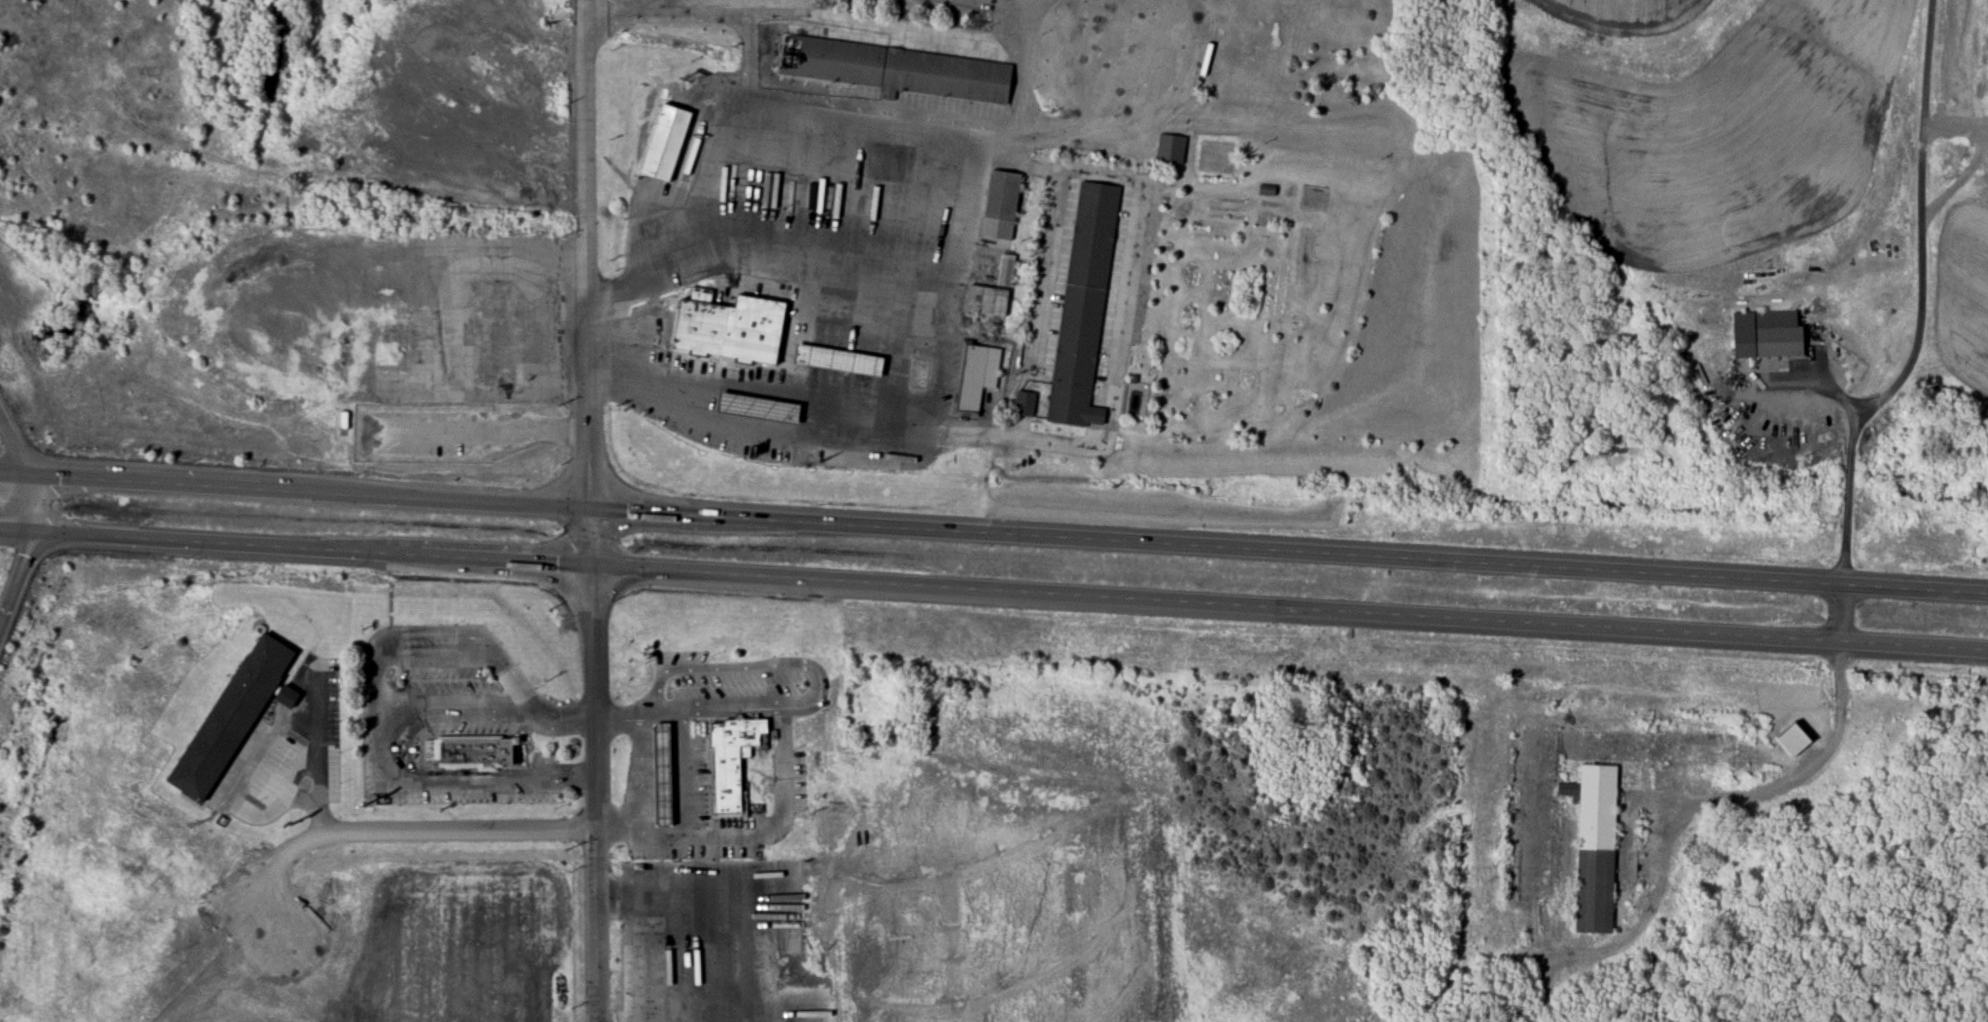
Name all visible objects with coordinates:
road: (608, 16)
road: (725, 17)
building: (1133, 68)
building: (898, 70)
road: (821, 113)
building: (668, 142)
building: (1170, 148)
road: (1083, 174)
building: (1002, 204)
road: (519, 258)
building: (1007, 269)
road: (816, 274)
building: (988, 299)
building: (1085, 306)
road: (448, 322)
building: (1769, 334)
building: (798, 339)
building: (393, 344)
building: (977, 375)
road: (762, 386)
building: (1026, 403)
building: (763, 407)
building: (344, 420)
road: (977, 439)
road: (27, 468)
road: (1852, 472)
traffic signals: (591, 508)
road: (591, 511)
road: (16, 529)
road: (994, 533)
traffic signals: (592, 563)
road: (19, 582)
road: (1010, 594)
parking lot: (711, 678)
parking lot: (446, 679)
road: (457, 700)
park: (883, 706)
building: (234, 717)
road: (567, 718)
parking lot: (368, 725)
parking lot: (470, 727)
building: (736, 732)
building: (1795, 739)
building: (664, 744)
building: (474, 750)
parking lot: (289, 753)
building: (726, 757)
parking lot: (699, 767)
gas station: (663, 774)
parking lot: (798, 780)
building: (727, 790)
road: (317, 800)
building: (1591, 807)
parking lot: (727, 820)
road: (439, 828)
road: (735, 920)
parking lot: (770, 941)
gas station: (673, 950)

